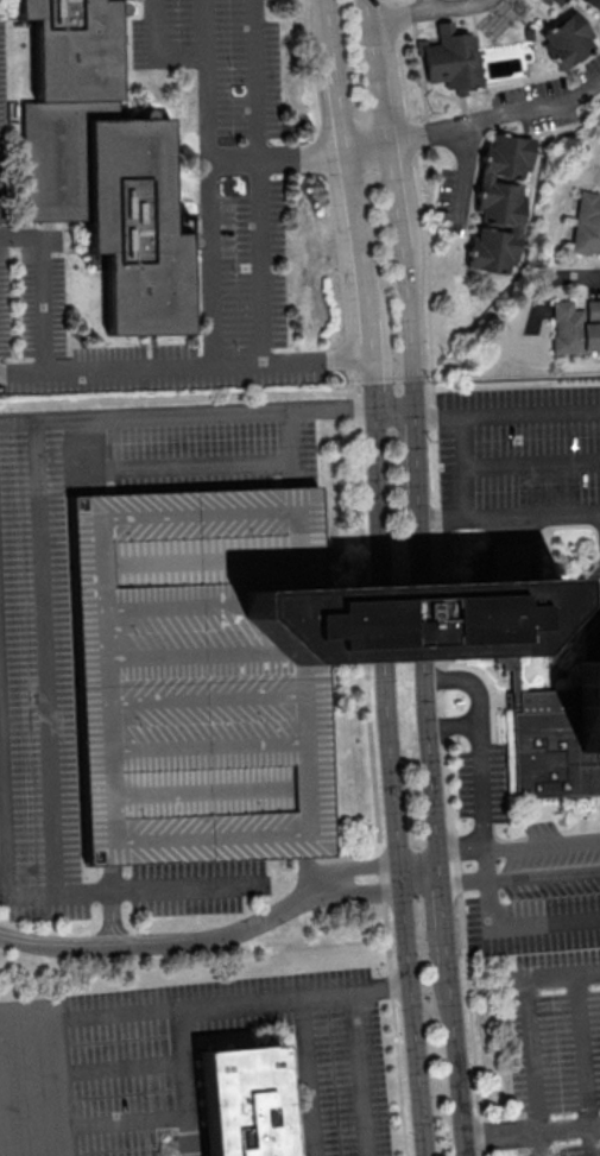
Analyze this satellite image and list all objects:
building: (554, 4)
road: (427, 5)
building: (593, 5)
road: (428, 8)
building: (567, 40)
building: (454, 59)
road: (475, 124)
road: (208, 125)
parking lot: (241, 149)
building: (101, 159)
building: (499, 202)
building: (587, 226)
road: (211, 263)
road: (545, 284)
road: (406, 289)
road: (364, 290)
building: (575, 326)
road: (183, 364)
road: (393, 409)
road: (506, 413)
road: (185, 416)
parking lot: (518, 447)
road: (466, 468)
road: (510, 518)
road: (362, 576)
road: (438, 576)
building: (402, 618)
road: (427, 619)
road: (381, 620)
road: (48, 658)
parking lot: (37, 675)
building: (192, 676)
parking lot: (192, 676)
building: (558, 703)
road: (456, 727)
road: (480, 760)
road: (453, 851)
road: (522, 878)
road: (377, 886)
road: (21, 895)
road: (444, 907)
road: (403, 908)
parking lot: (536, 914)
road: (519, 928)
road: (162, 941)
road: (221, 1006)
road: (88, 1021)
road: (524, 1028)
parking lot: (191, 1065)
parking lot: (549, 1066)
road: (582, 1066)
road: (358, 1075)
road: (308, 1078)
building: (242, 1101)
road: (532, 1129)

